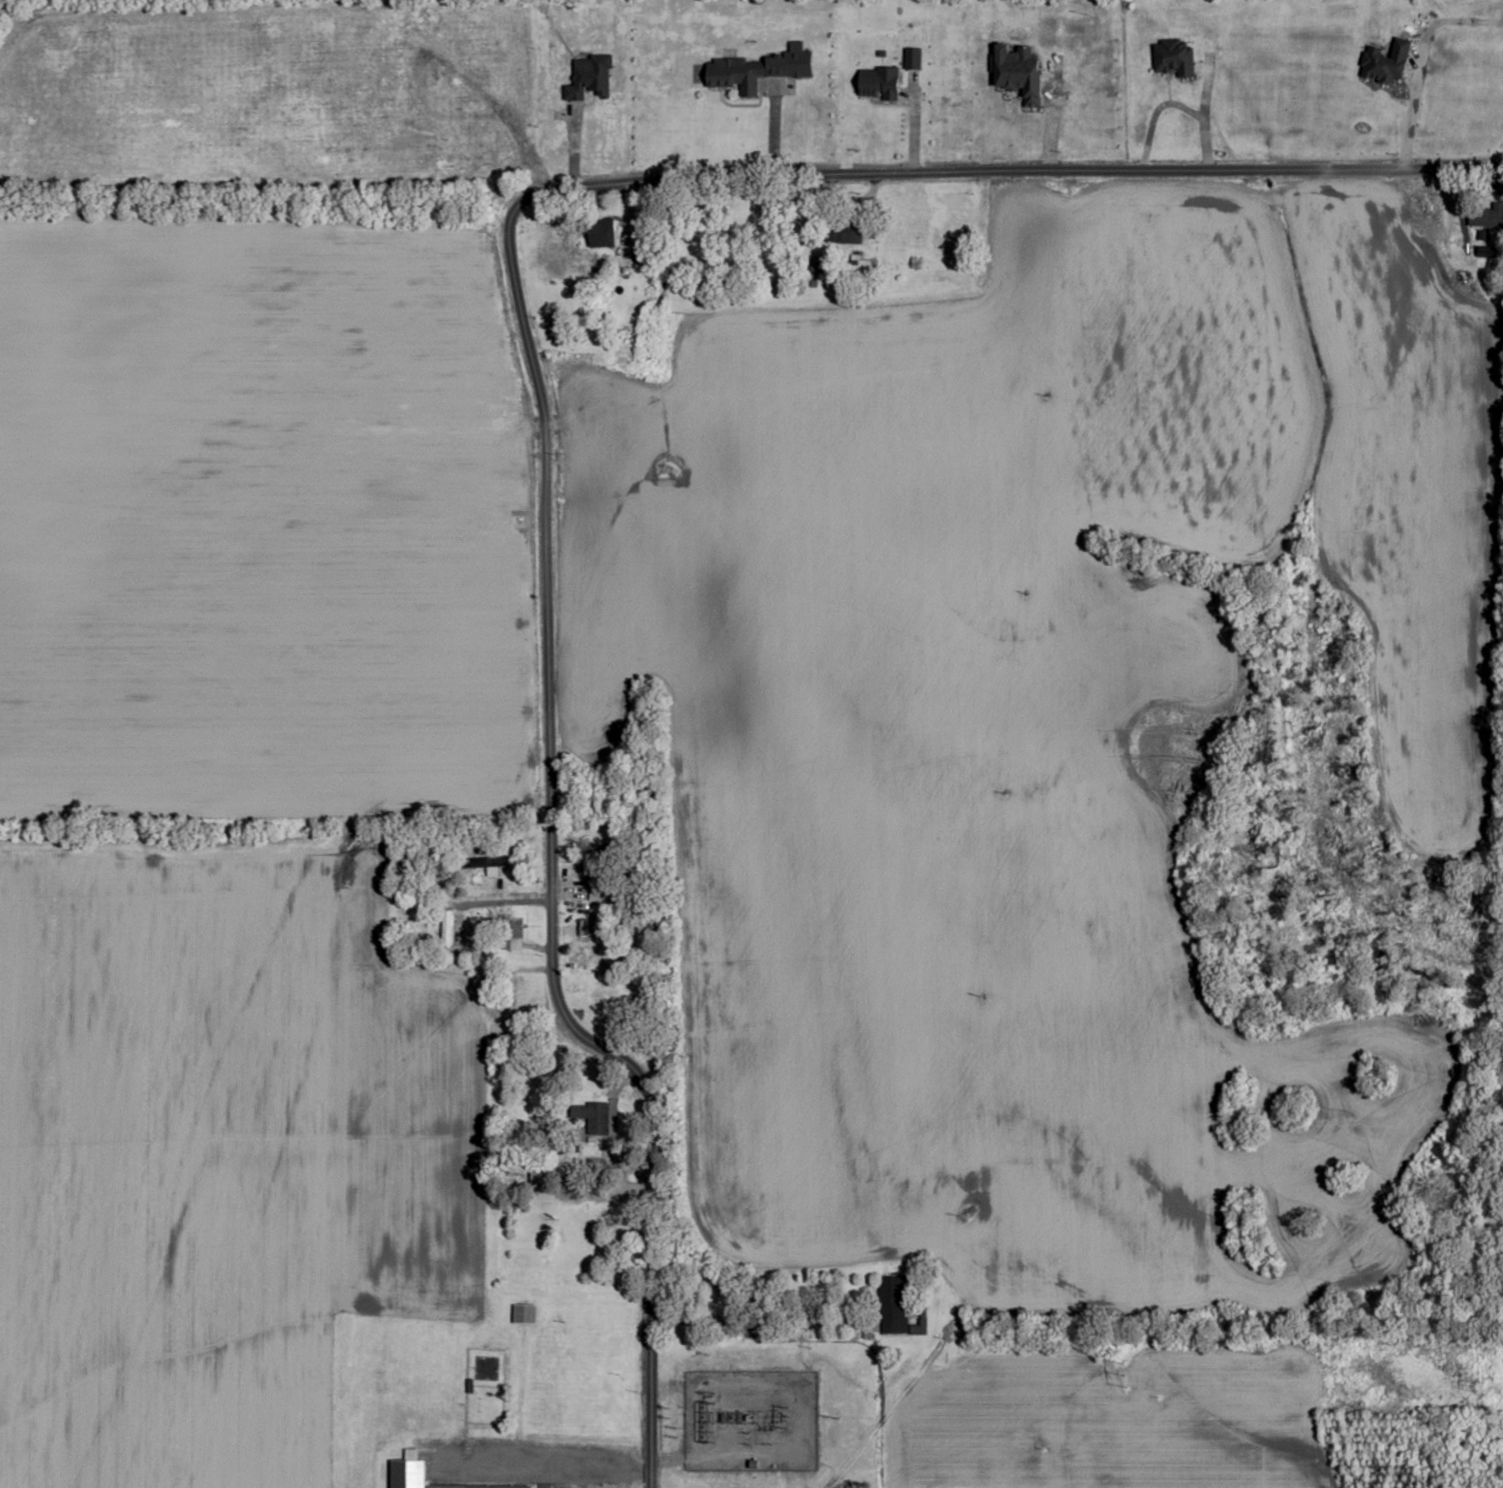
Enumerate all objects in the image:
building: (1174, 57)
building: (1386, 59)
building: (1019, 71)
building: (389, 73)
building: (733, 73)
building: (1486, 217)
building: (606, 231)
road: (531, 362)
road: (498, 903)
building: (457, 922)
building: (508, 937)
building: (595, 1118)
crop: (163, 1166)
building: (894, 1305)
building: (525, 1314)
road: (776, 1326)
power substation: (750, 1420)
road: (546, 1467)
building: (419, 1475)
parking lot: (591, 1487)

